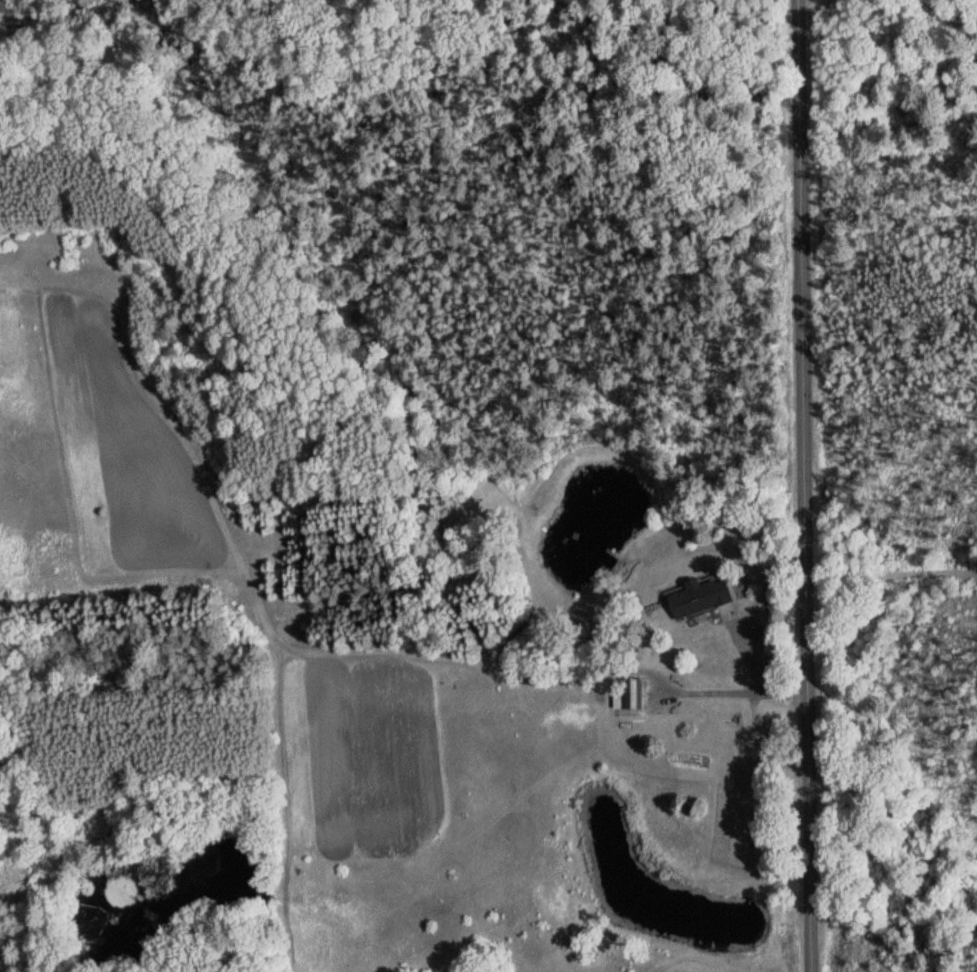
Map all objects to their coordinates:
road: (810, 486)
building: (699, 597)
building: (631, 694)

